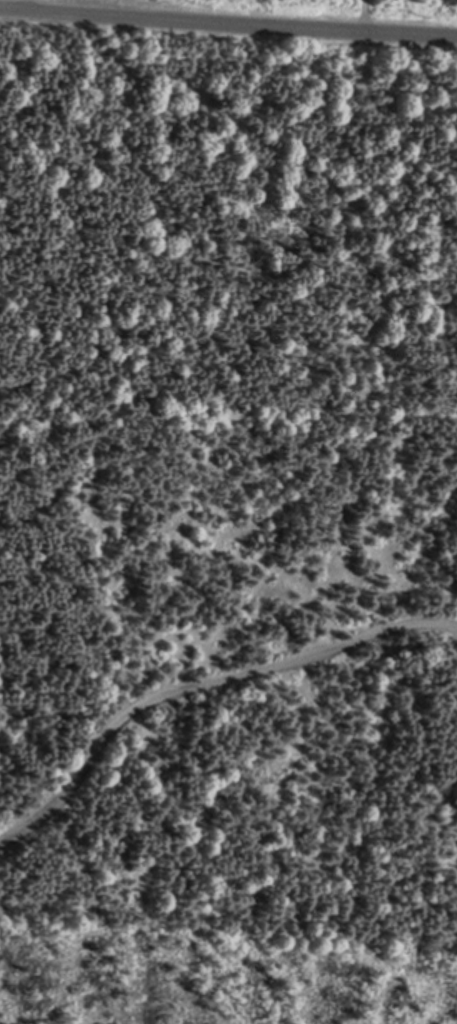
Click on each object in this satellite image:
road: (29, 4)
road: (366, 15)
road: (228, 21)
road: (203, 685)

